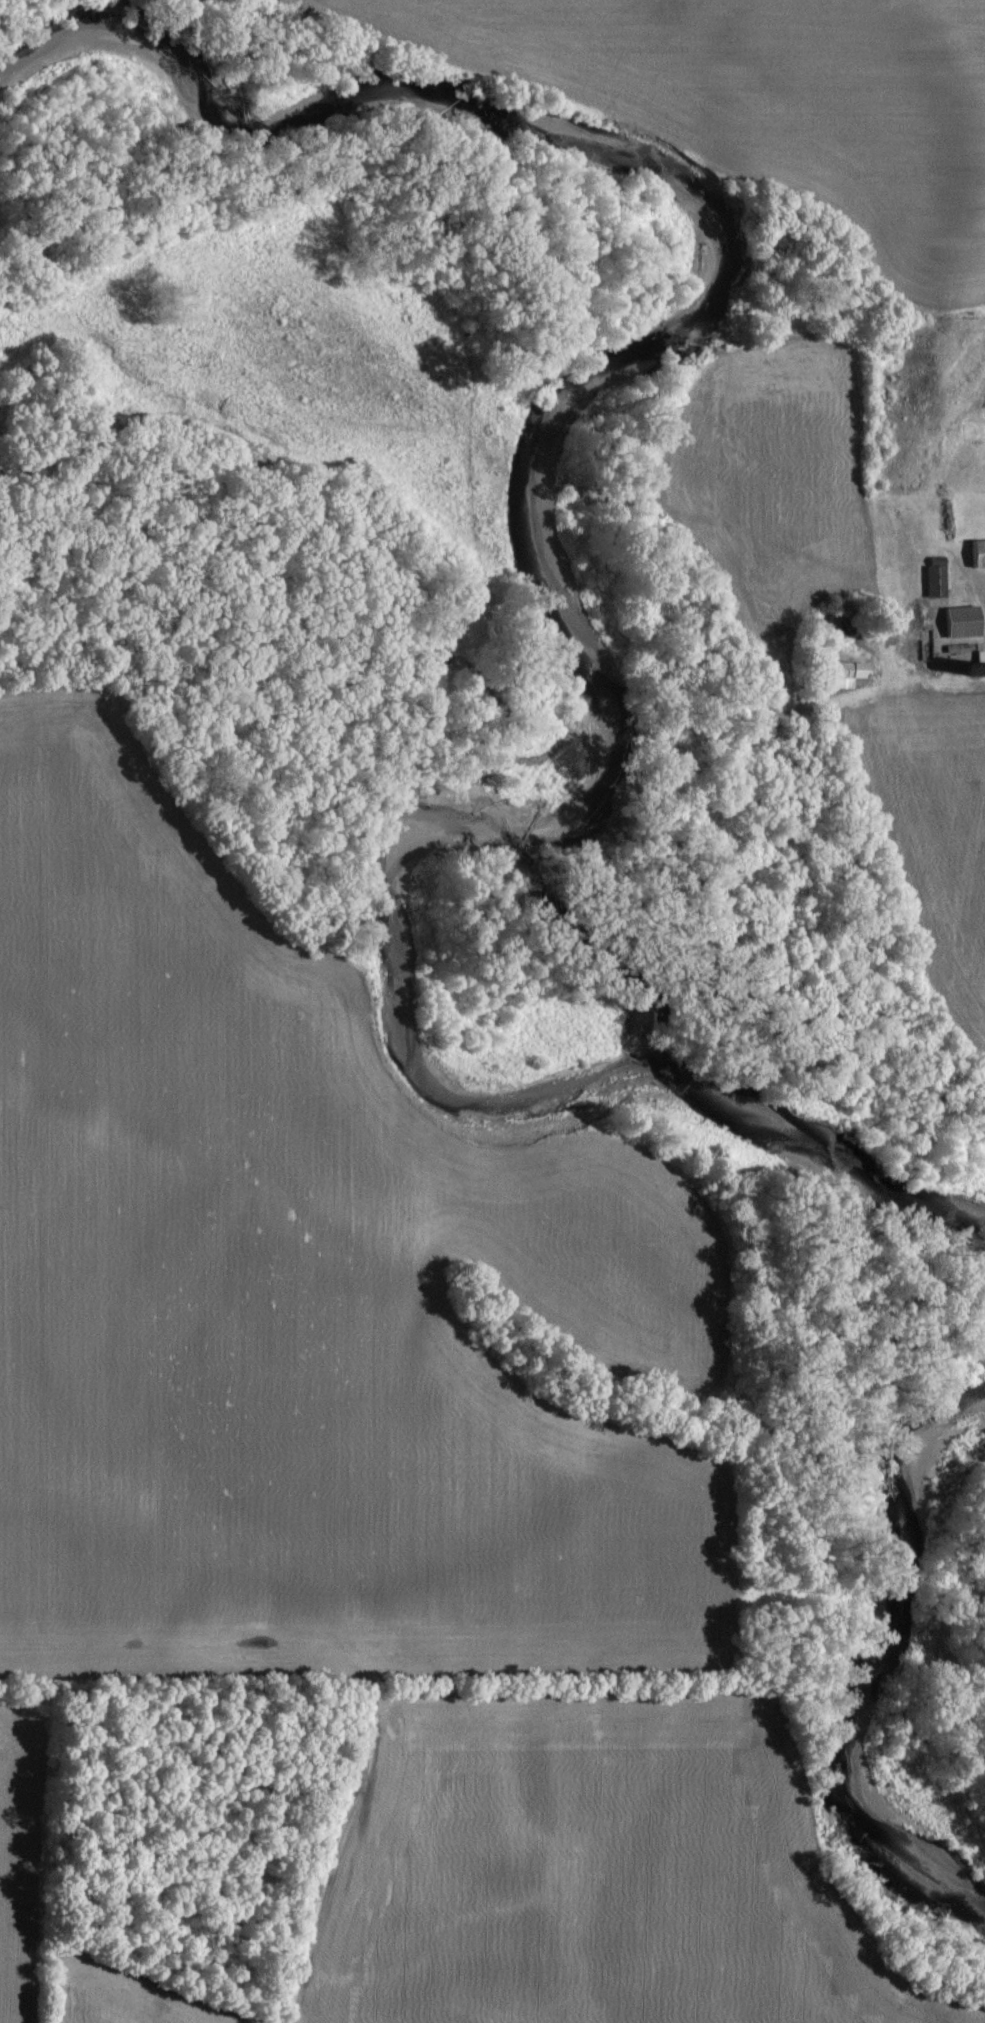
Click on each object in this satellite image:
building: (977, 554)
road: (963, 567)
building: (934, 579)
building: (956, 617)
building: (841, 674)

